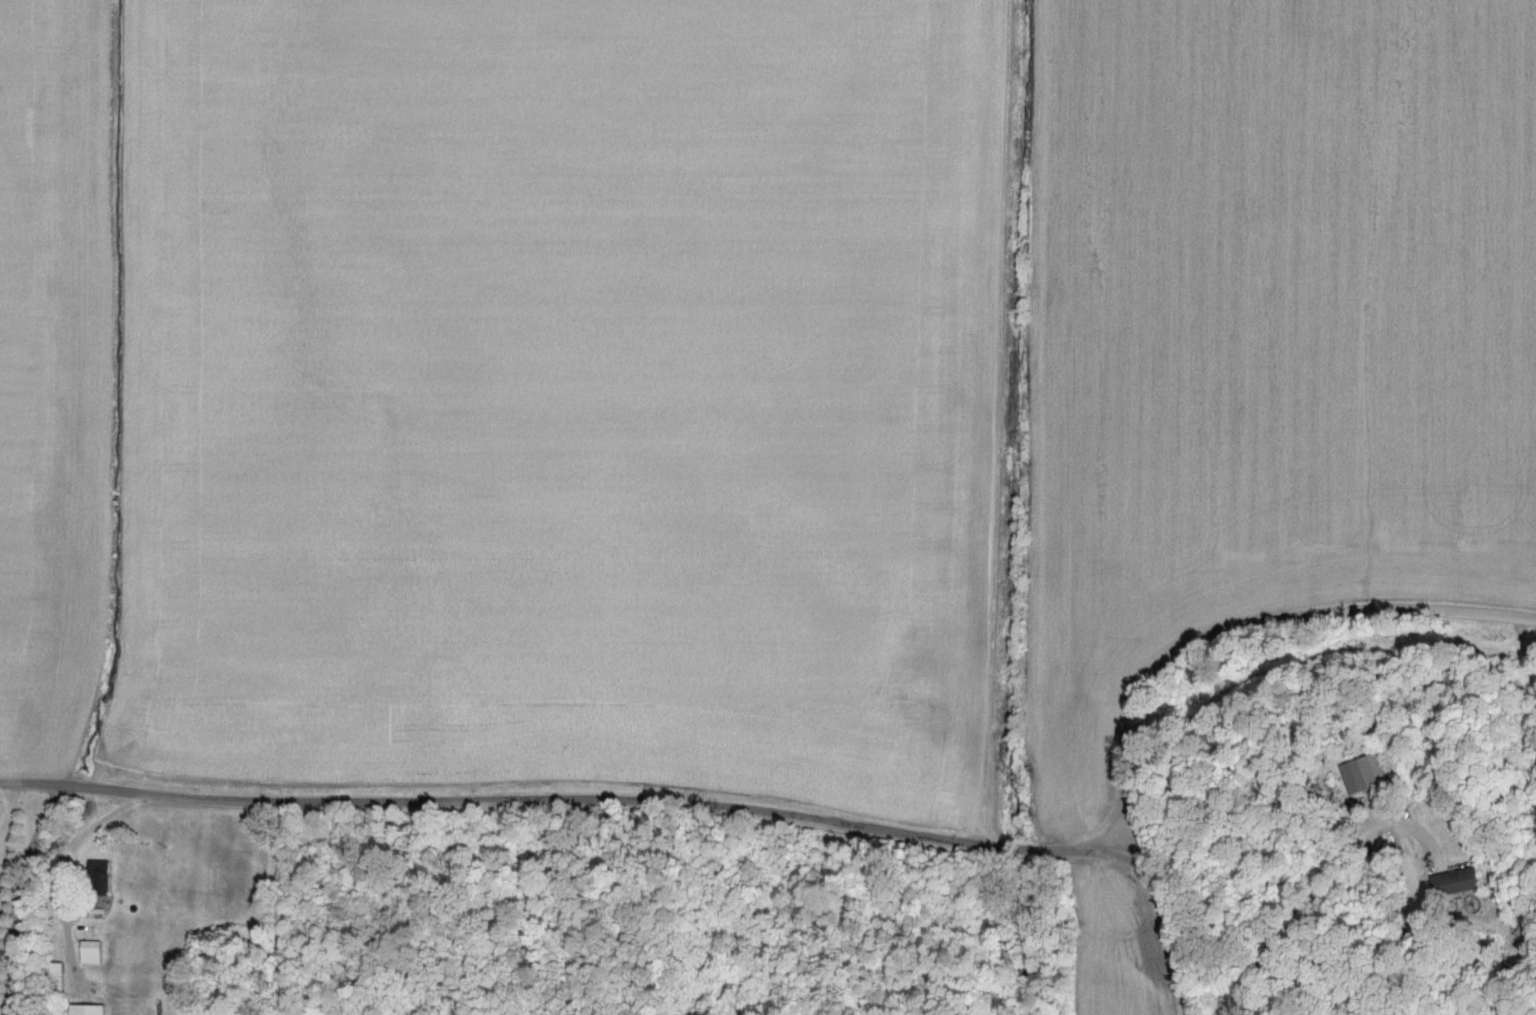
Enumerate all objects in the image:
road: (1245, 632)
road: (575, 803)
road: (11, 811)
road: (1115, 826)
road: (65, 867)
building: (100, 879)
building: (1458, 882)
road: (1316, 888)
road: (17, 897)
road: (1170, 939)
building: (93, 953)
building: (56, 980)
building: (89, 1010)

